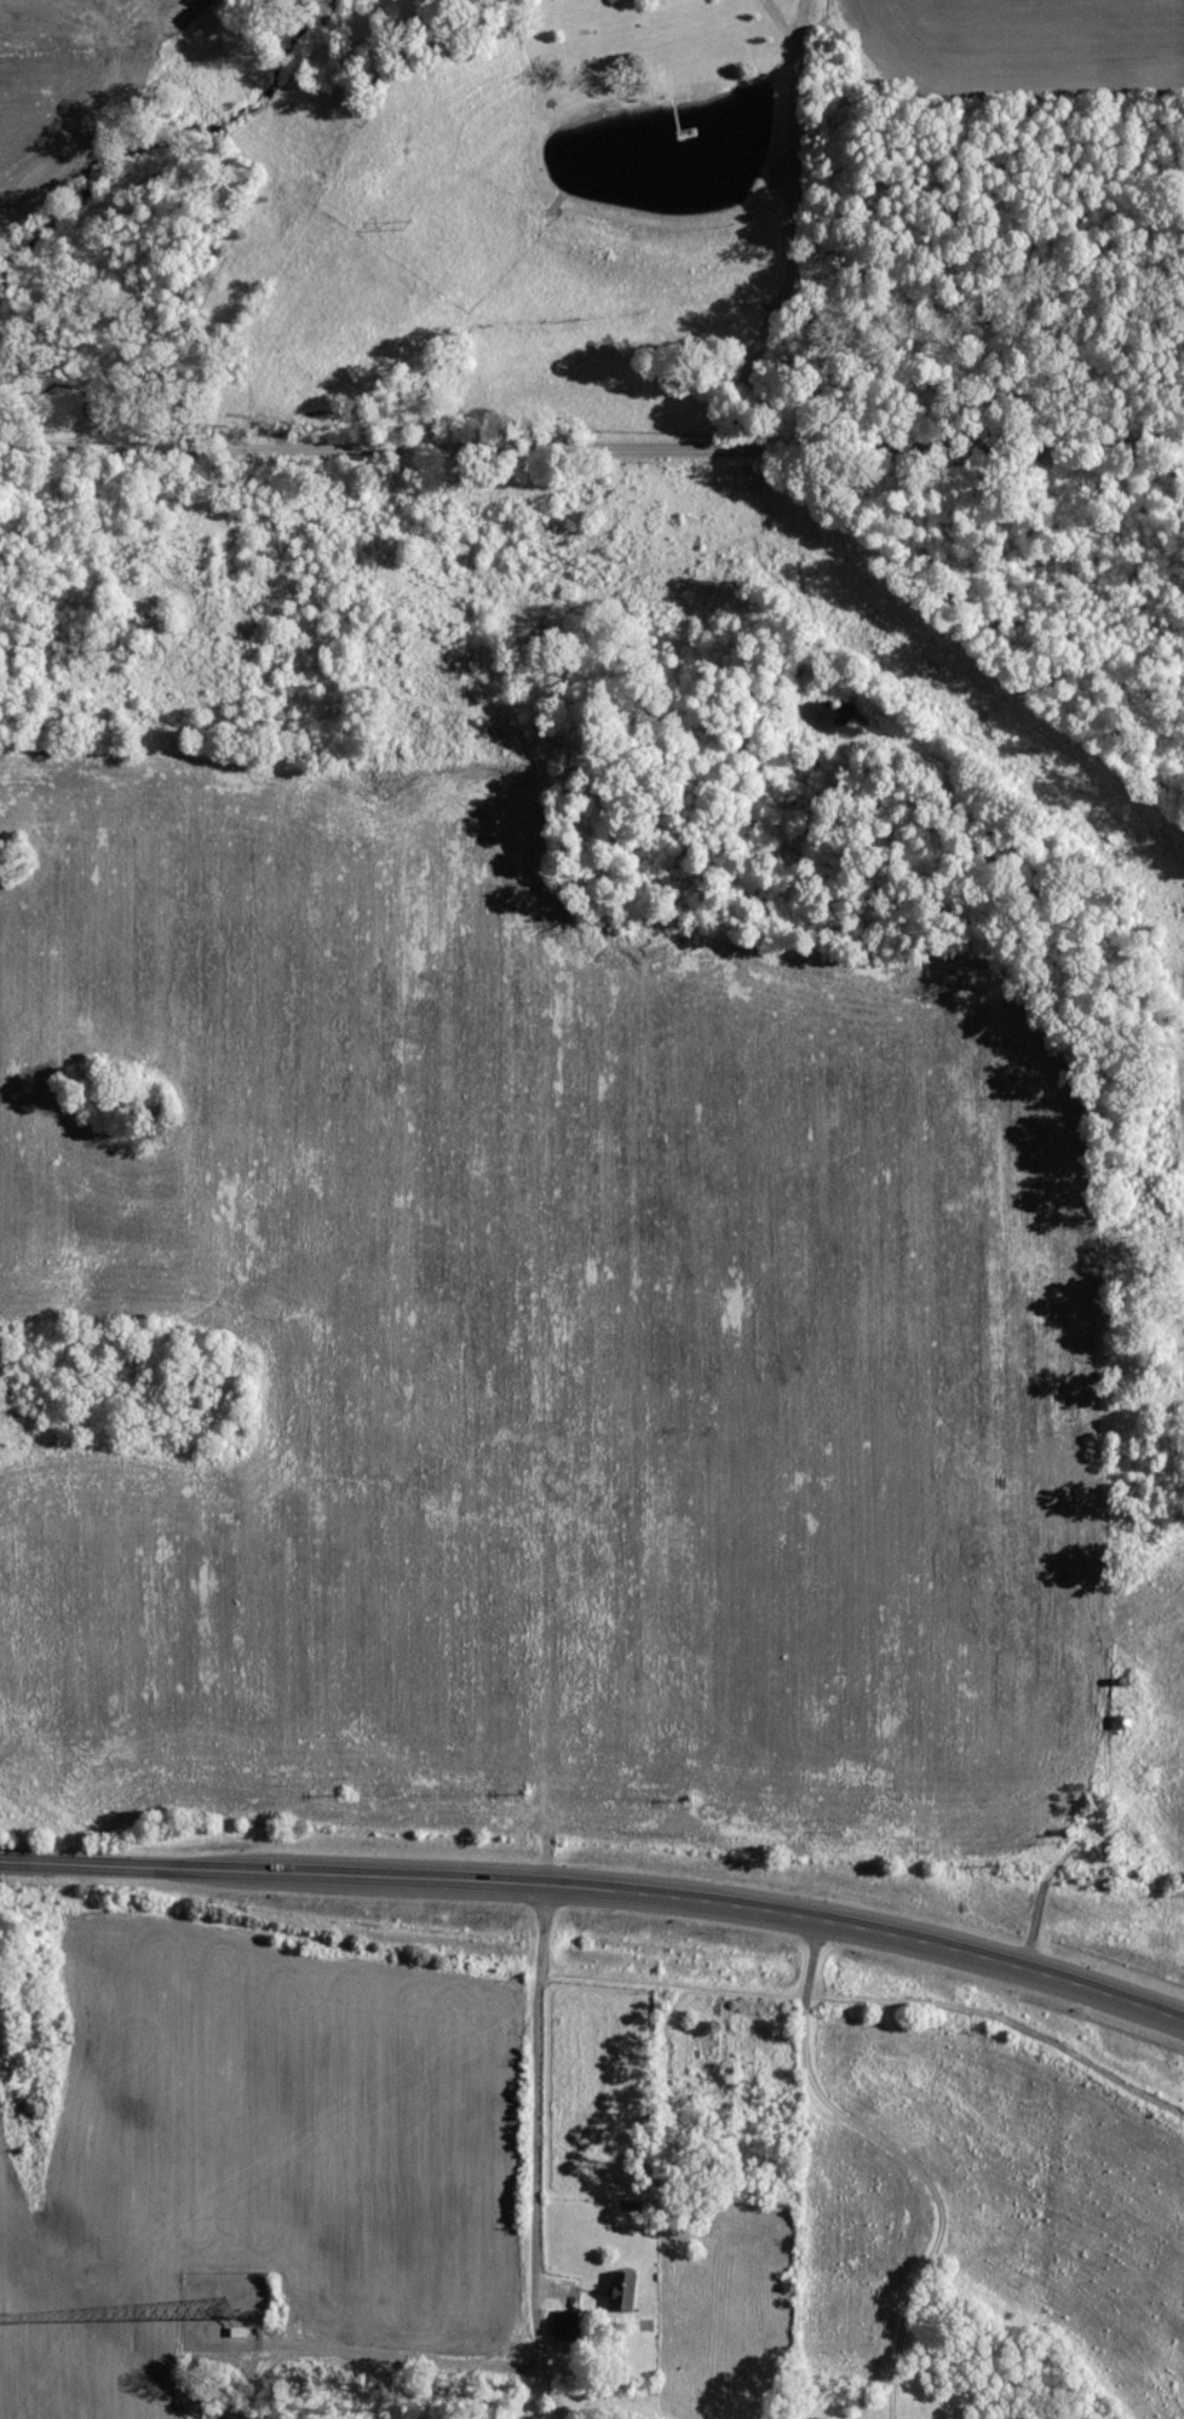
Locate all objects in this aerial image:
road: (810, 219)
road: (592, 447)
road: (599, 1885)
road: (530, 2153)
road: (904, 2155)
building: (620, 2293)

